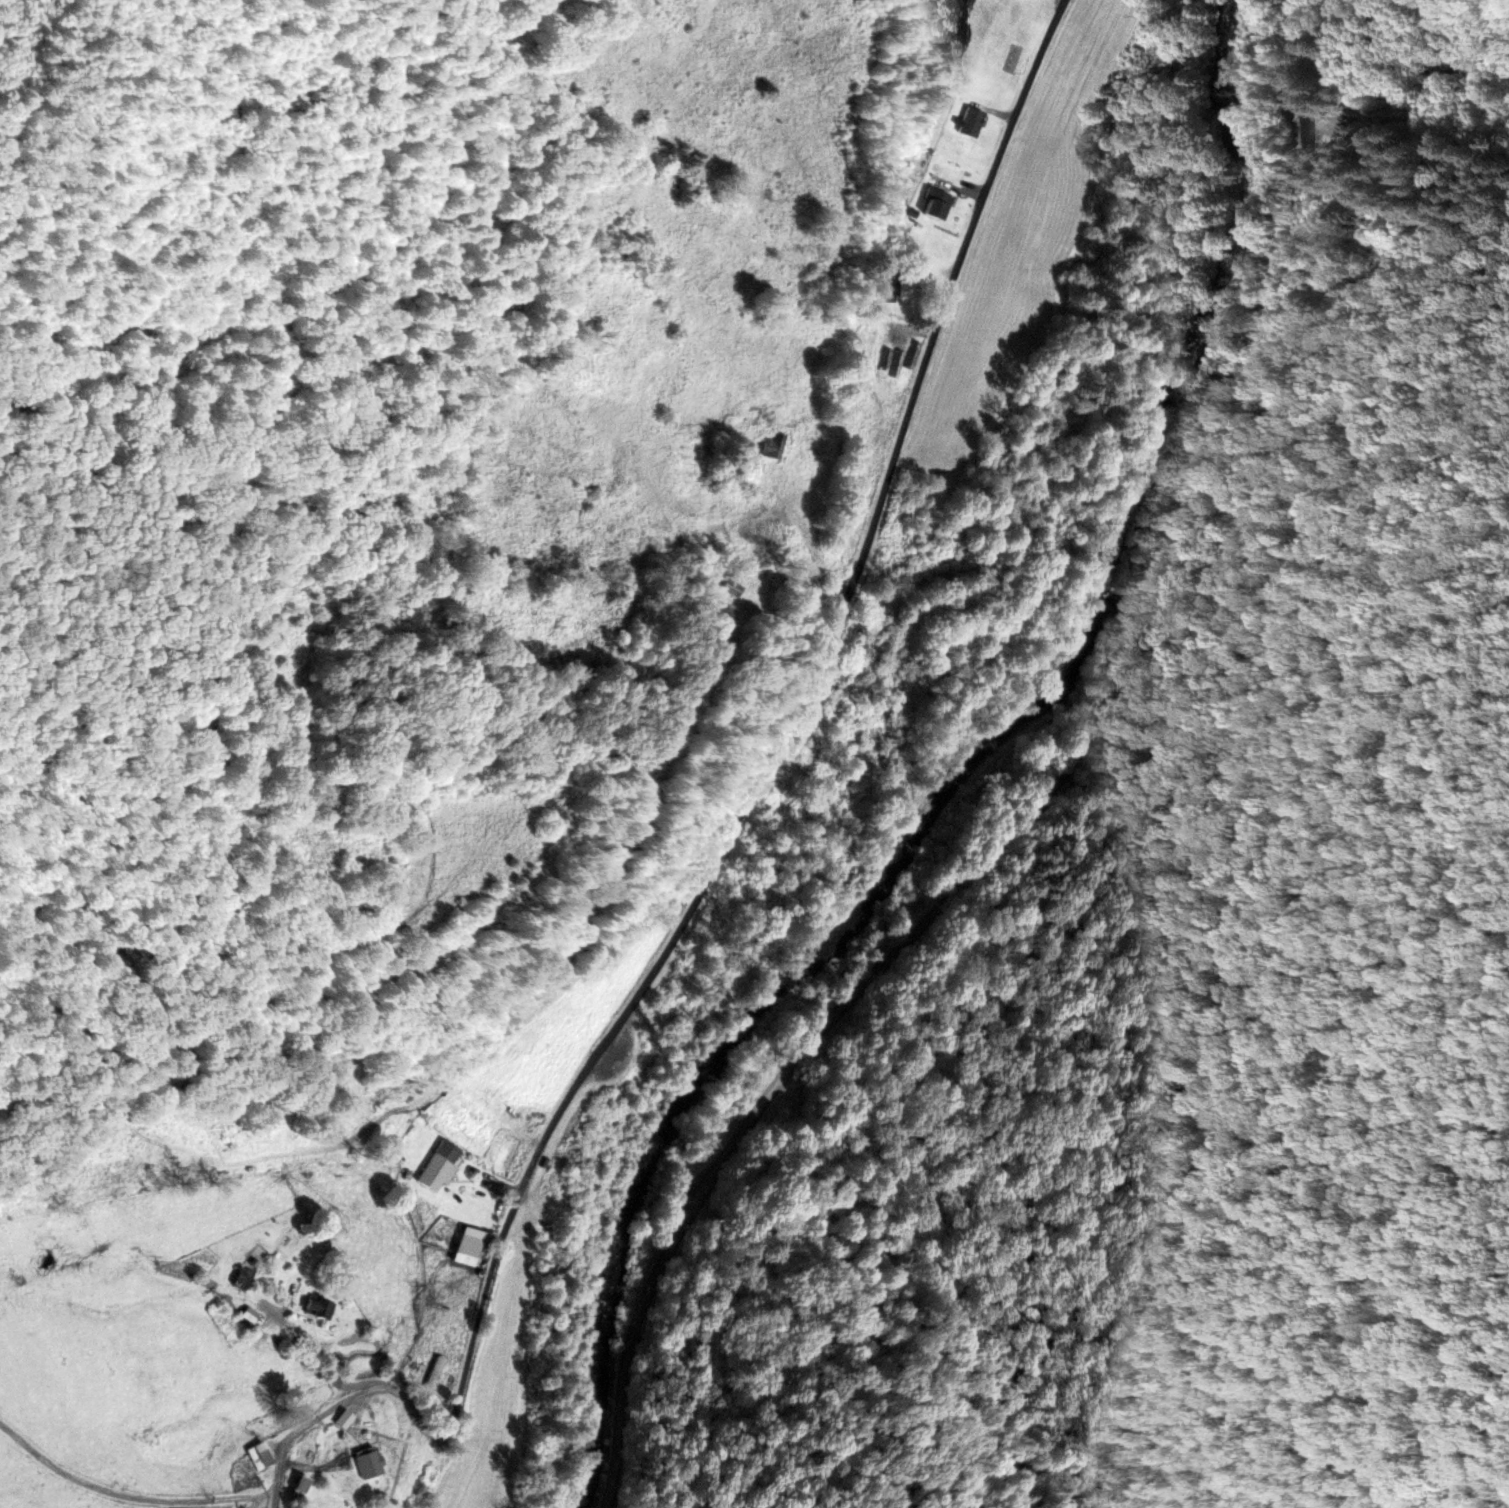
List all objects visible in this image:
road: (34, 16)
building: (971, 123)
road: (1409, 134)
building: (936, 205)
building: (904, 242)
building: (890, 287)
building: (772, 447)
building: (731, 588)
river: (980, 785)
road: (1041, 790)
road: (722, 845)
building: (439, 1167)
building: (466, 1246)
building: (242, 1275)
building: (318, 1307)
building: (433, 1376)
building: (343, 1419)
building: (258, 1456)
building: (366, 1462)
building: (297, 1488)
road: (131, 1495)

